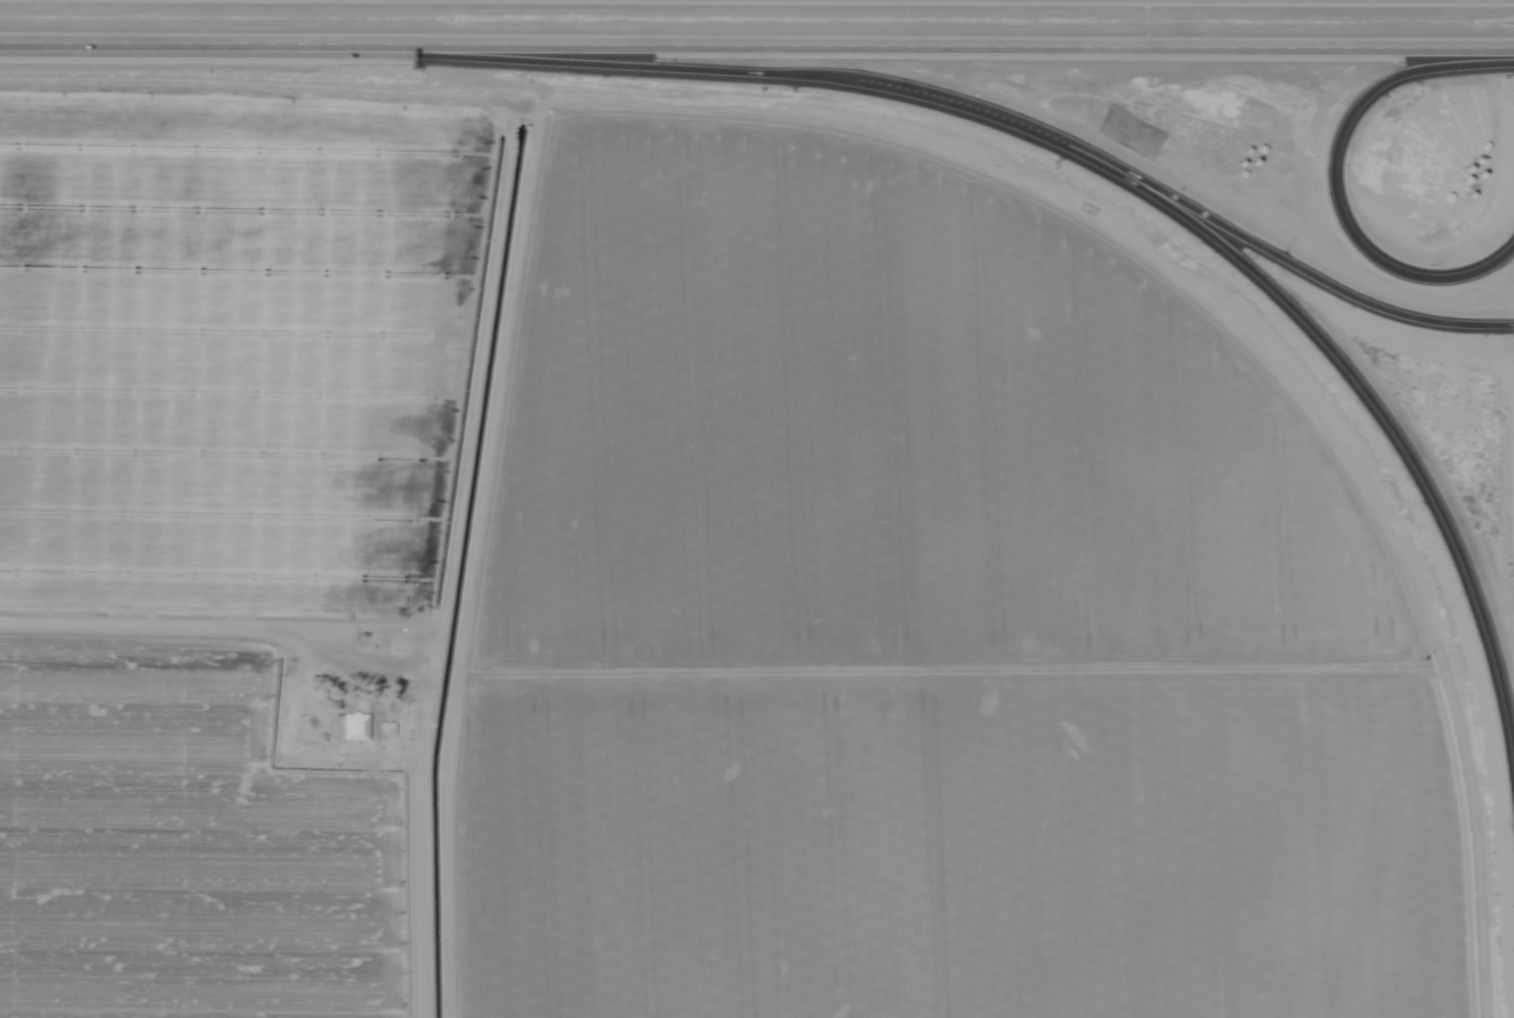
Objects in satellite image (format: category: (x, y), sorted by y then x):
road: (756, 45)
road: (596, 67)
road: (1332, 179)
road: (1282, 262)
road: (1371, 406)
building: (353, 728)

